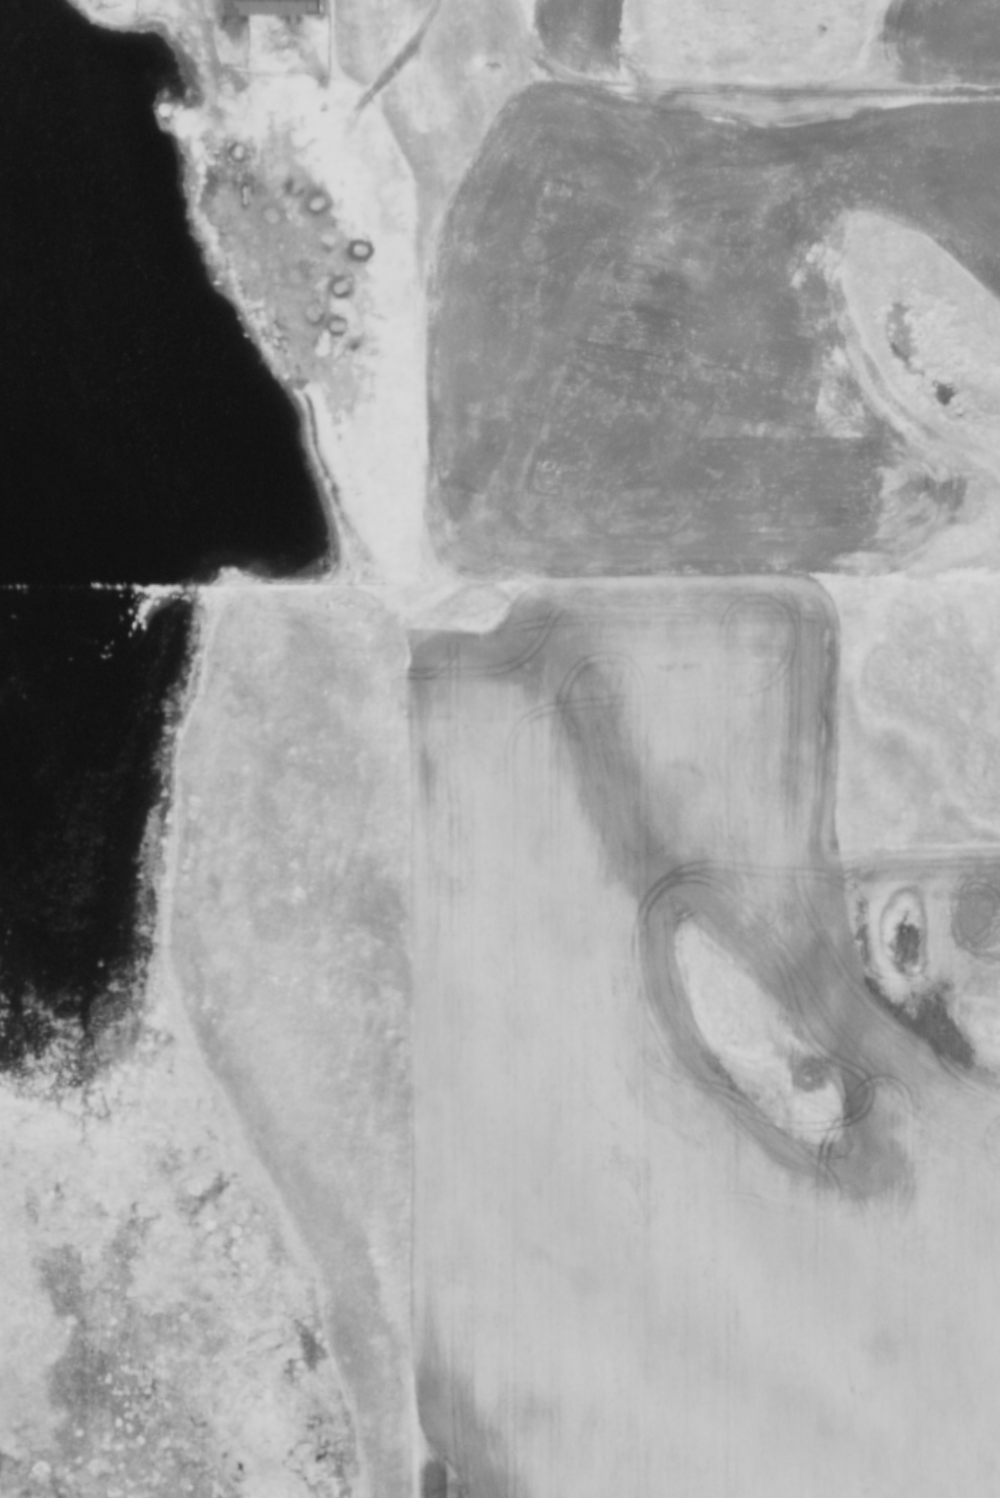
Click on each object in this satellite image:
building: (270, 7)
road: (730, 96)

